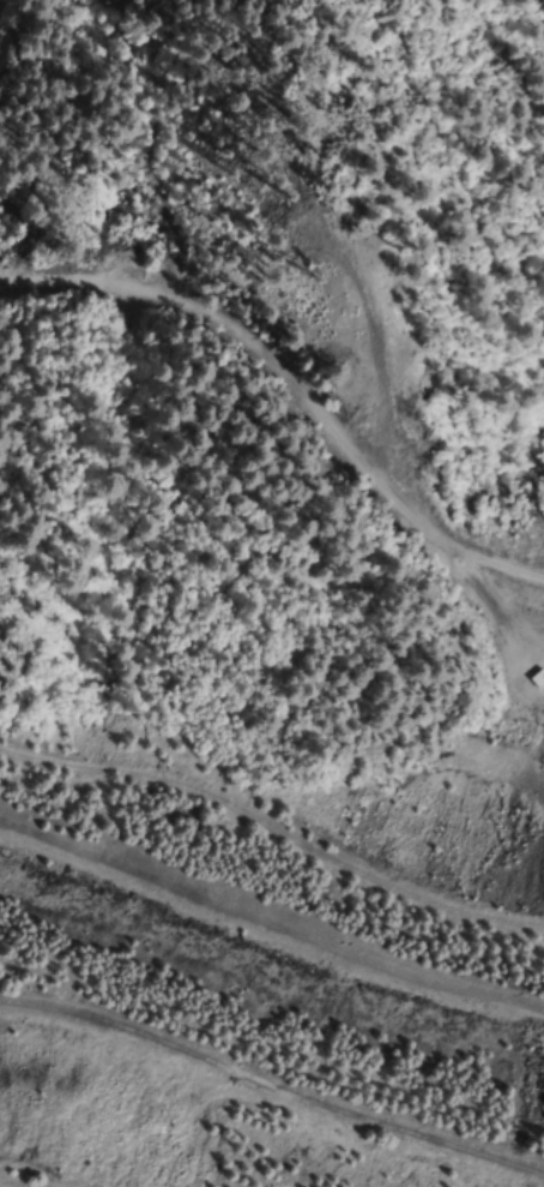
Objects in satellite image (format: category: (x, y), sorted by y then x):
road: (290, 385)
building: (537, 678)

